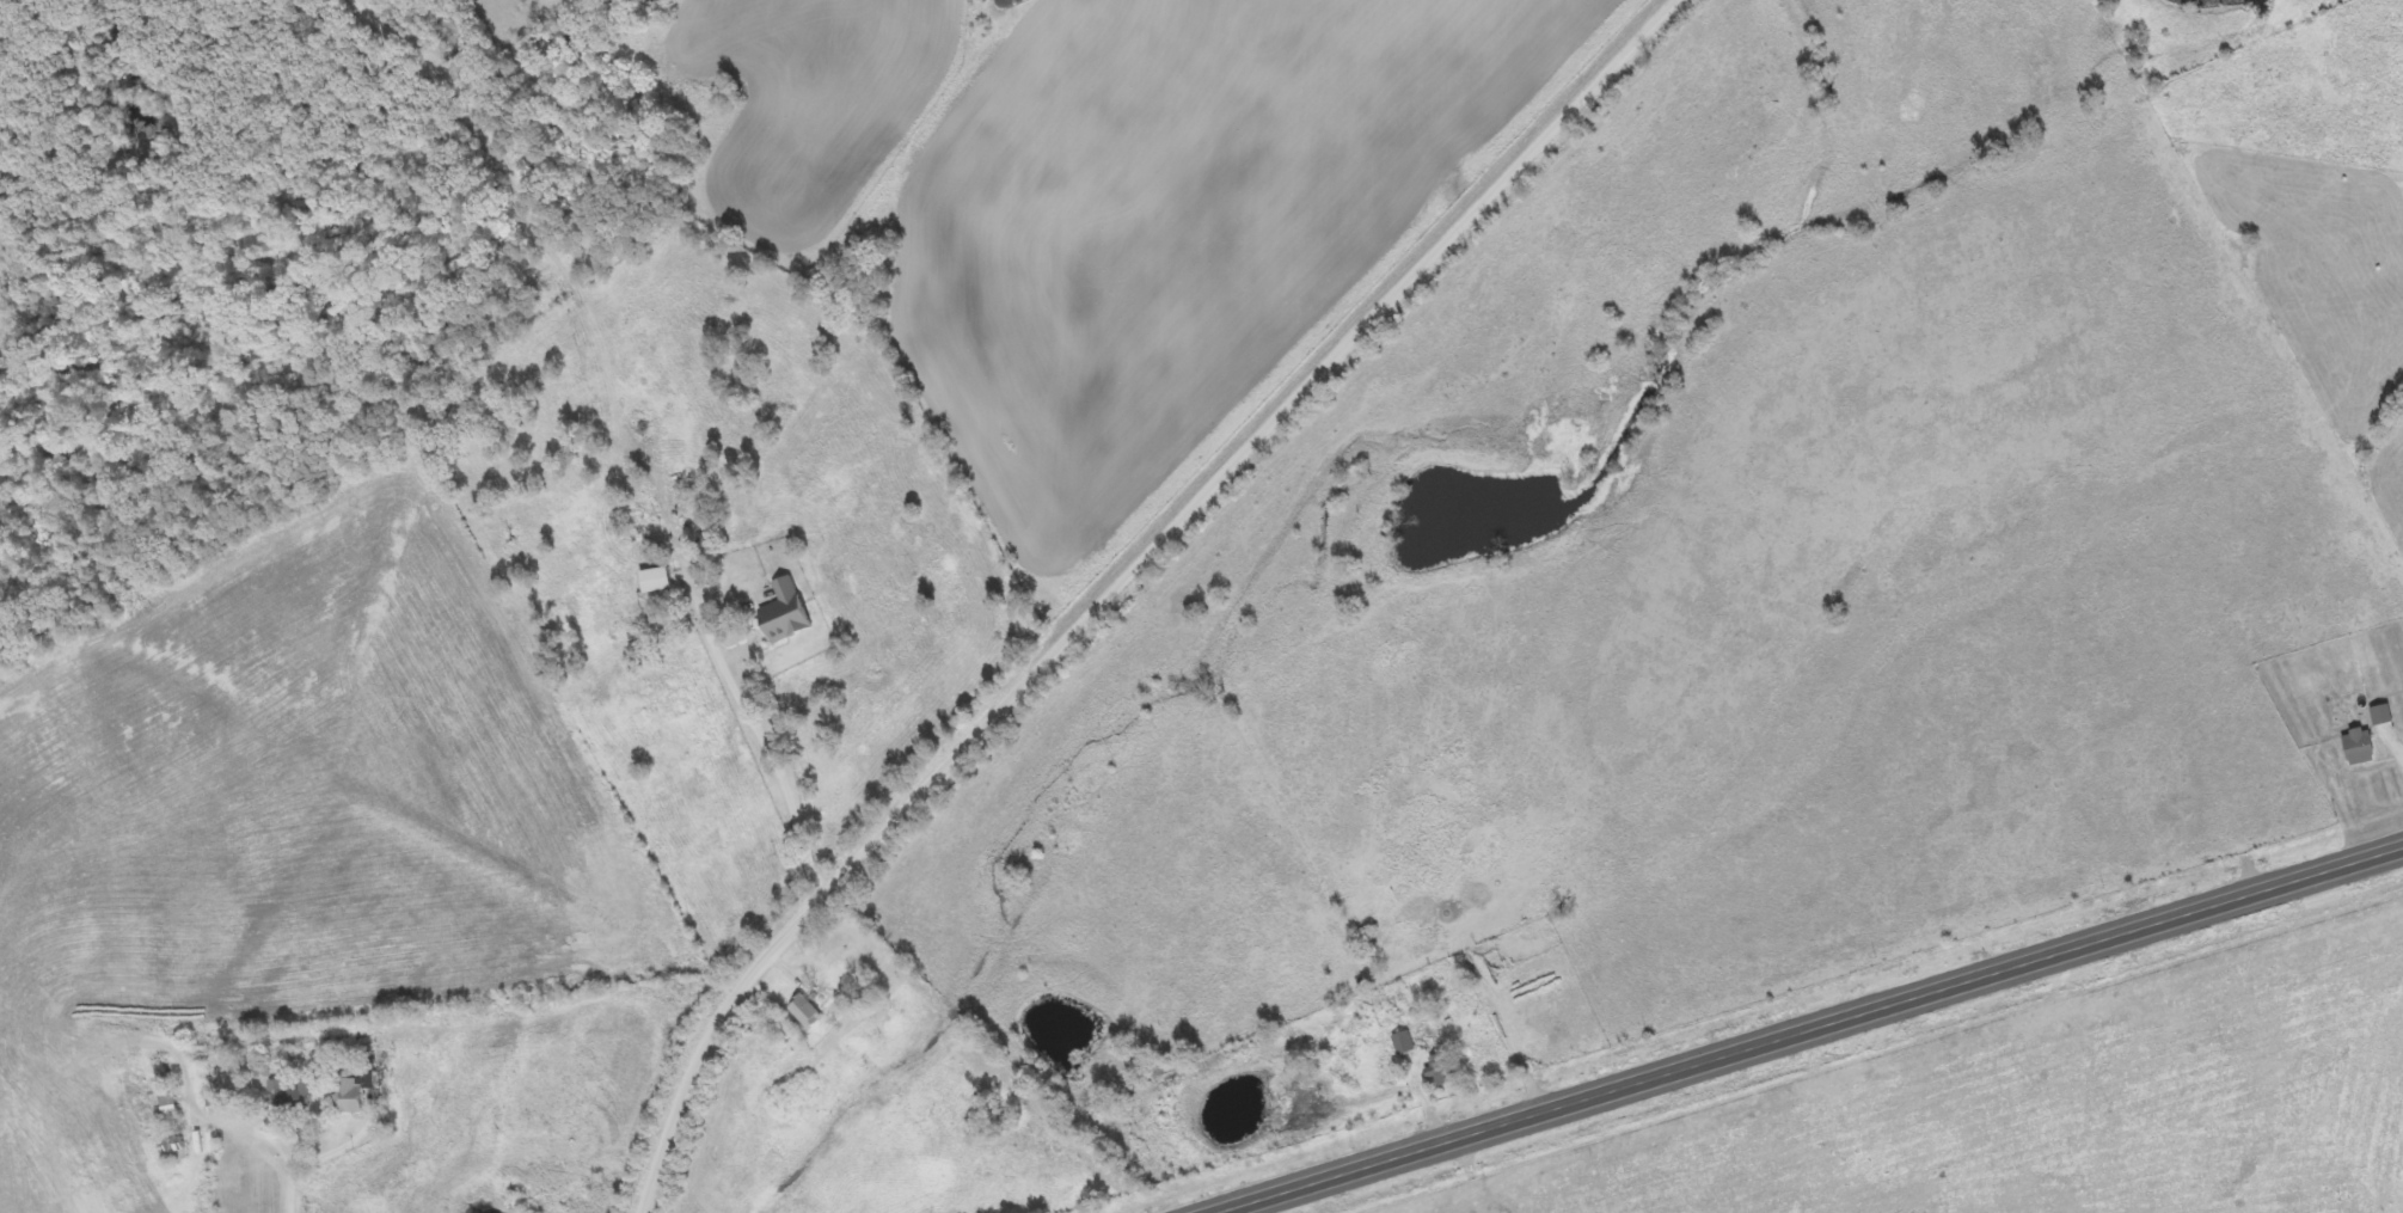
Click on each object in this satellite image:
building: (657, 581)
road: (1133, 582)
building: (786, 612)
building: (2383, 715)
building: (2362, 748)
building: (808, 1013)
road: (1819, 1034)
building: (1404, 1044)
building: (1445, 1071)
building: (292, 1096)
building: (350, 1098)

